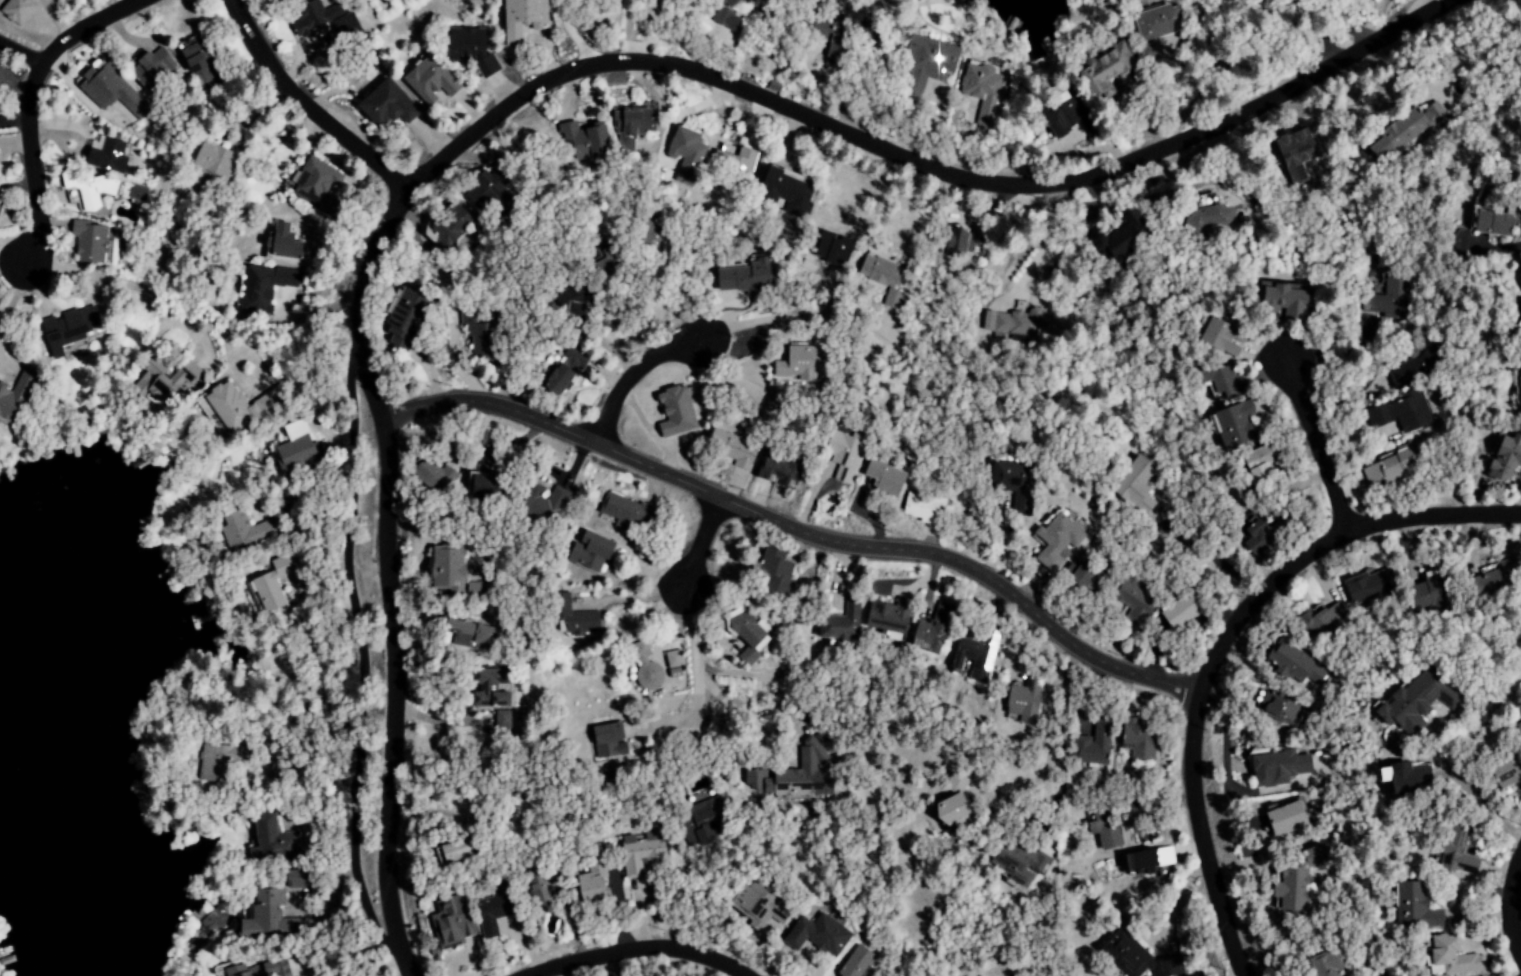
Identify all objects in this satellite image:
building: (271, 2)
building: (728, 2)
building: (16, 10)
building: (307, 18)
building: (521, 19)
road: (1377, 21)
building: (1154, 28)
building: (341, 29)
road: (624, 31)
road: (569, 35)
building: (837, 48)
building: (469, 50)
road: (17, 57)
building: (931, 59)
building: (150, 67)
building: (1100, 73)
building: (428, 80)
road: (541, 83)
building: (107, 89)
building: (982, 94)
road: (305, 101)
road: (27, 103)
building: (383, 104)
building: (1064, 112)
building: (629, 127)
building: (582, 139)
building: (684, 146)
building: (1295, 151)
building: (102, 155)
building: (732, 159)
building: (209, 160)
building: (315, 184)
building: (84, 188)
building: (483, 189)
building: (784, 191)
building: (135, 192)
building: (1210, 214)
building: (1496, 222)
building: (1122, 239)
building: (956, 242)
building: (87, 243)
building: (281, 244)
building: (831, 248)
road: (1042, 249)
building: (882, 277)
building: (740, 278)
building: (263, 287)
road: (121, 297)
building: (1388, 297)
building: (1285, 302)
building: (572, 309)
road: (784, 317)
building: (405, 319)
building: (1017, 322)
building: (69, 326)
building: (1219, 337)
building: (802, 364)
building: (1412, 366)
building: (564, 371)
road: (629, 374)
building: (166, 380)
building: (1222, 380)
building: (1516, 383)
building: (13, 396)
building: (237, 405)
building: (674, 412)
building: (1400, 412)
building: (1235, 423)
building: (730, 448)
road: (1318, 449)
building: (841, 453)
building: (295, 454)
building: (1503, 457)
building: (1259, 462)
building: (1394, 466)
building: (777, 467)
building: (433, 475)
building: (881, 476)
building: (1012, 482)
building: (1135, 484)
building: (477, 485)
building: (542, 500)
building: (921, 507)
building: (624, 512)
building: (241, 526)
road: (791, 530)
building: (1254, 534)
building: (1056, 541)
road: (698, 542)
building: (588, 550)
building: (446, 569)
building: (771, 570)
building: (1086, 579)
building: (273, 584)
building: (1367, 585)
building: (1133, 600)
building: (1179, 611)
building: (574, 615)
building: (886, 615)
building: (839, 622)
building: (1315, 623)
building: (468, 632)
building: (747, 635)
building: (925, 635)
road: (1223, 645)
building: (975, 653)
building: (672, 658)
building: (1289, 662)
building: (644, 666)
road: (695, 669)
road: (354, 672)
building: (674, 672)
building: (491, 686)
building: (1023, 696)
building: (1408, 702)
building: (1277, 711)
building: (1136, 737)
building: (603, 740)
building: (1092, 745)
building: (1275, 766)
building: (1517, 766)
building: (1401, 771)
building: (803, 774)
building: (946, 808)
building: (702, 810)
building: (1286, 818)
building: (1102, 830)
building: (275, 840)
building: (451, 851)
building: (642, 851)
building: (1455, 852)
building: (1140, 861)
building: (1018, 862)
building: (589, 878)
building: (535, 889)
building: (1290, 890)
road: (1176, 900)
building: (758, 905)
road: (1517, 905)
building: (1413, 906)
building: (494, 909)
building: (265, 916)
building: (816, 935)
building: (1135, 956)
building: (1452, 956)
road: (634, 959)
building: (856, 962)
building: (1326, 964)
building: (258, 969)

